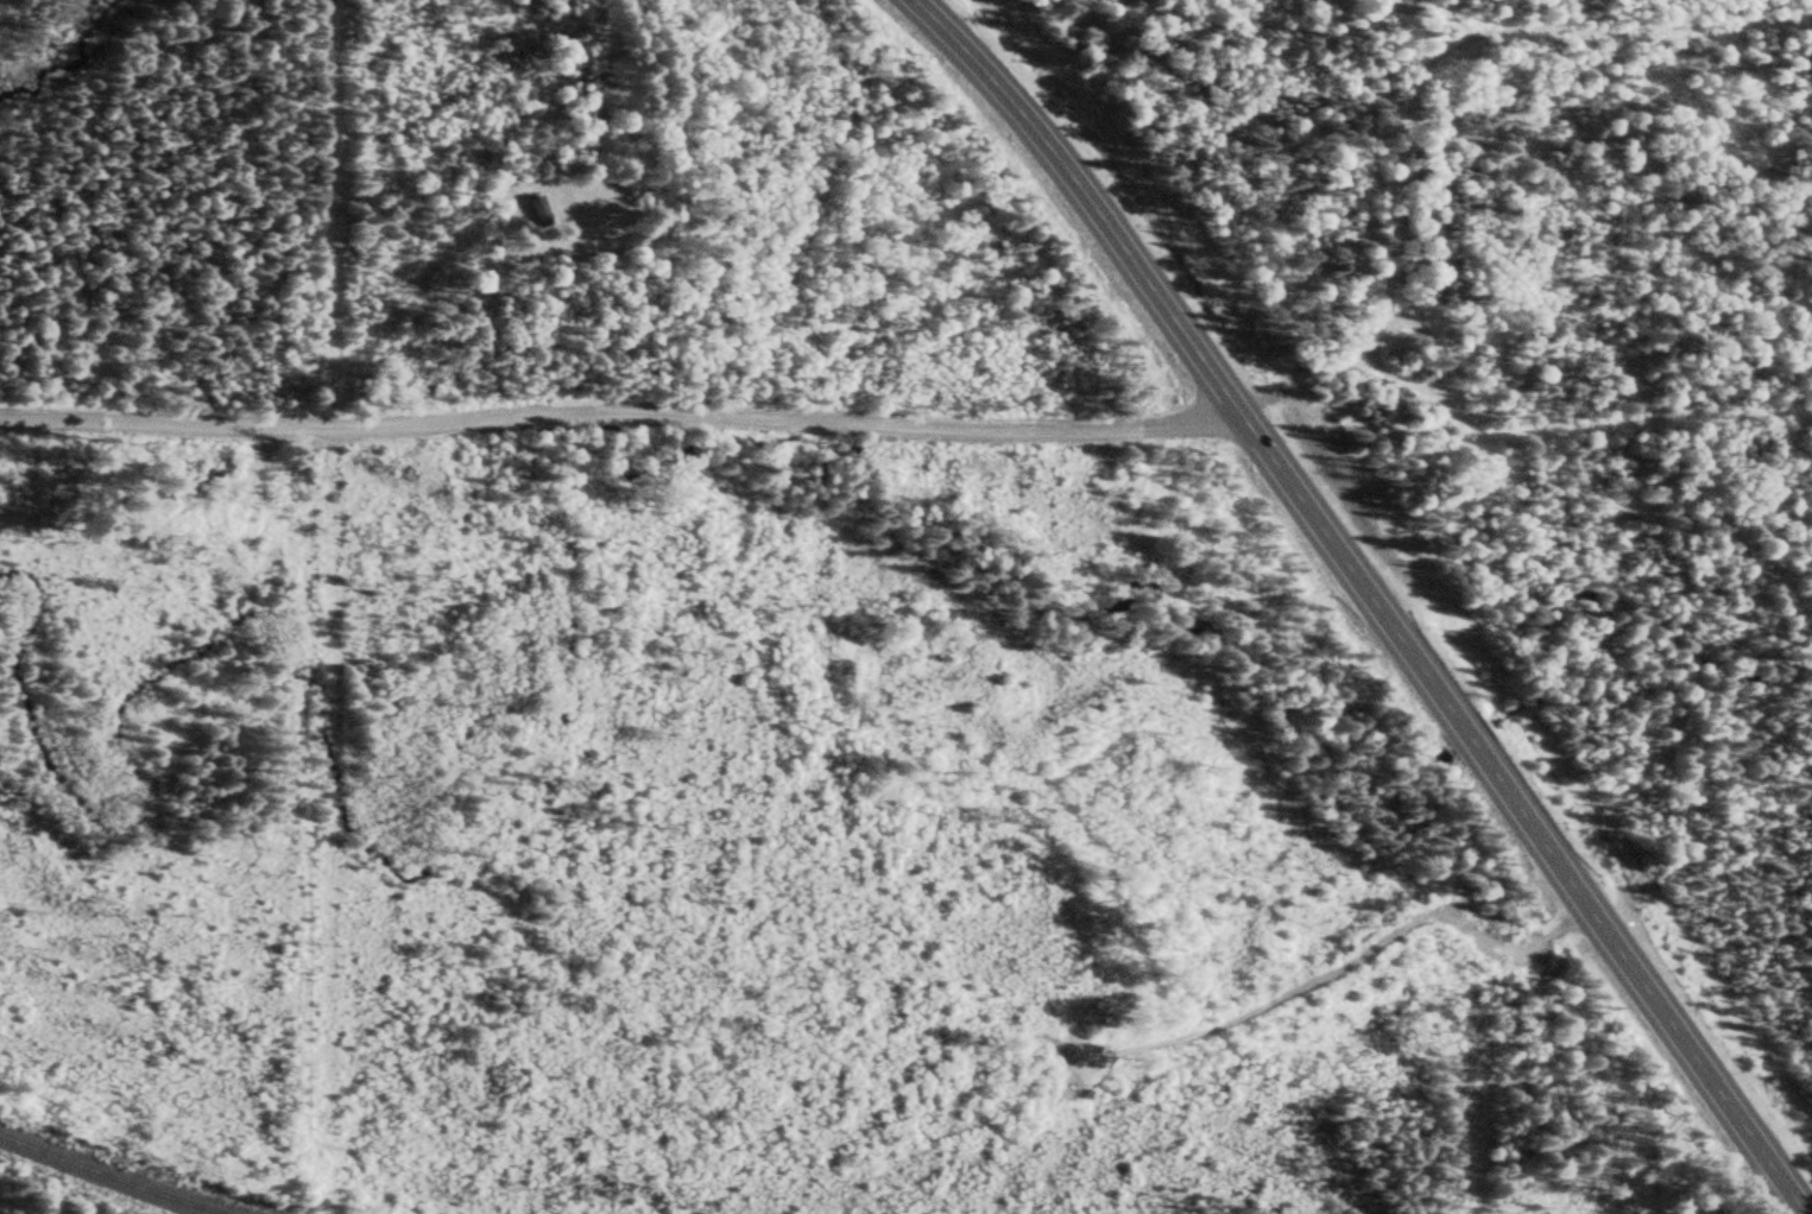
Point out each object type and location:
road: (599, 95)
building: (537, 213)
road: (617, 413)
road: (1371, 596)
railway: (122, 1174)

